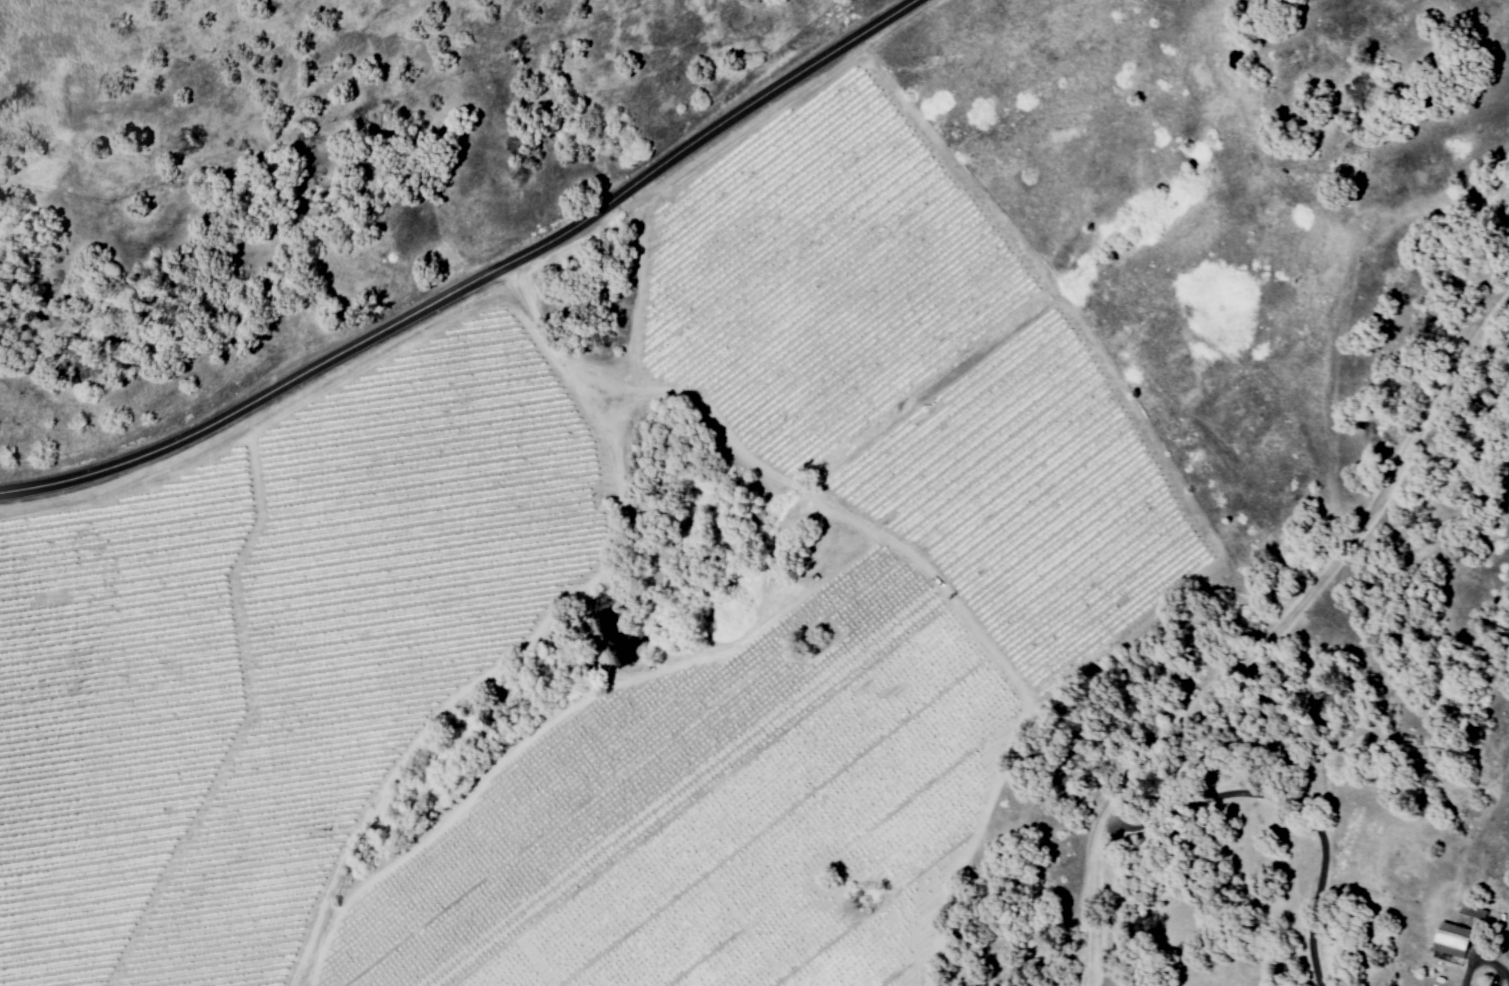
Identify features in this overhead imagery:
road: (478, 298)
road: (1267, 638)
road: (1291, 802)
building: (1456, 939)
road: (1482, 963)
building: (1487, 985)

